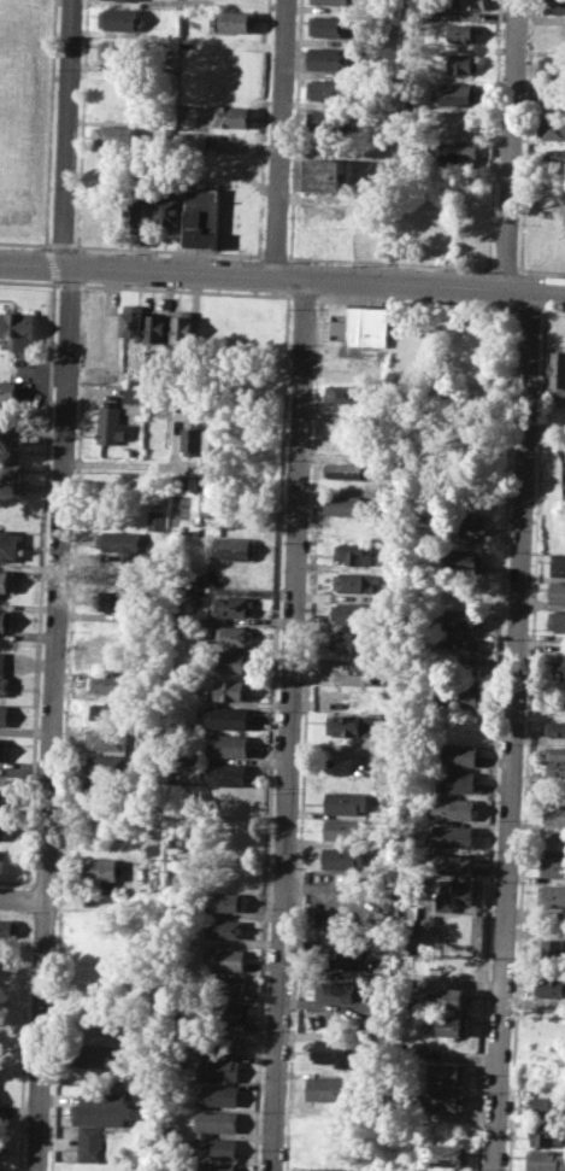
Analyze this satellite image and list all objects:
building: (137, 0)
building: (334, 1)
building: (471, 4)
building: (553, 6)
building: (122, 17)
building: (236, 21)
building: (328, 25)
building: (460, 33)
building: (552, 34)
building: (118, 49)
building: (328, 58)
building: (459, 63)
building: (552, 66)
building: (113, 81)
building: (326, 89)
building: (454, 94)
building: (551, 104)
building: (112, 111)
building: (225, 116)
building: (326, 119)
building: (454, 125)
building: (551, 128)
building: (113, 135)
road: (281, 137)
building: (198, 140)
road: (511, 144)
building: (455, 153)
building: (554, 156)
building: (323, 175)
building: (166, 206)
building: (134, 209)
building: (201, 216)
building: (547, 221)
road: (25, 241)
road: (61, 244)
road: (167, 250)
road: (273, 256)
road: (389, 262)
road: (137, 268)
road: (504, 268)
road: (540, 269)
road: (292, 277)
road: (406, 282)
road: (518, 287)
road: (547, 288)
road: (528, 308)
road: (552, 309)
building: (134, 320)
building: (363, 324)
building: (157, 327)
building: (182, 327)
building: (18, 329)
building: (557, 373)
building: (254, 379)
building: (7, 393)
building: (342, 393)
building: (131, 394)
building: (182, 403)
building: (111, 422)
building: (11, 432)
building: (192, 438)
building: (211, 440)
road: (129, 466)
building: (10, 467)
building: (345, 470)
building: (210, 498)
building: (341, 505)
building: (157, 519)
building: (473, 526)
building: (123, 543)
building: (10, 546)
building: (233, 548)
building: (353, 552)
building: (463, 557)
building: (558, 563)
building: (7, 579)
building: (186, 581)
building: (353, 581)
road: (58, 584)
building: (557, 591)
building: (117, 599)
building: (233, 605)
building: (354, 611)
building: (459, 619)
building: (557, 619)
building: (6, 620)
road: (307, 634)
building: (234, 636)
building: (352, 642)
building: (458, 645)
building: (113, 655)
building: (231, 662)
building: (558, 667)
building: (4, 675)
building: (112, 681)
building: (228, 690)
building: (459, 695)
building: (349, 696)
building: (112, 709)
building: (4, 714)
building: (229, 718)
road: (293, 725)
building: (348, 725)
building: (460, 727)
building: (554, 728)
road: (518, 730)
building: (113, 738)
building: (229, 744)
building: (4, 749)
building: (554, 753)
building: (458, 755)
building: (112, 762)
building: (555, 769)
building: (226, 773)
building: (455, 781)
building: (111, 790)
building: (0, 798)
building: (345, 803)
building: (452, 808)
building: (555, 814)
building: (343, 829)
building: (1, 830)
building: (452, 836)
building: (554, 841)
building: (342, 857)
building: (451, 862)
building: (553, 866)
building: (105, 872)
building: (340, 879)
building: (455, 894)
building: (552, 895)
road: (23, 898)
building: (225, 901)
building: (225, 927)
building: (8, 929)
building: (553, 949)
building: (341, 958)
building: (224, 959)
building: (452, 970)
building: (225, 984)
building: (549, 985)
building: (331, 990)
building: (452, 997)
building: (226, 1012)
building: (448, 1024)
building: (223, 1042)
building: (331, 1050)
building: (100, 1056)
building: (219, 1068)
building: (448, 1075)
building: (328, 1088)
building: (217, 1095)
building: (445, 1100)
building: (548, 1107)
building: (104, 1108)
building: (216, 1120)
building: (166, 1132)
building: (548, 1135)
building: (90, 1144)
building: (1, 1147)
building: (216, 1147)
building: (329, 1150)
building: (443, 1153)
building: (547, 1159)
building: (212, 1167)
building: (329, 1169)
building: (431, 1170)

